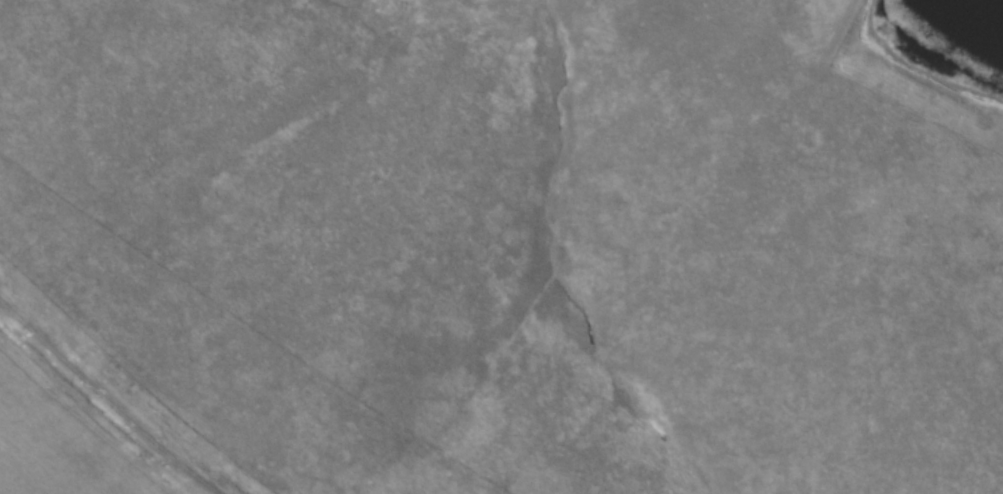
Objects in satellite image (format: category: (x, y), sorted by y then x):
railway: (114, 389)

